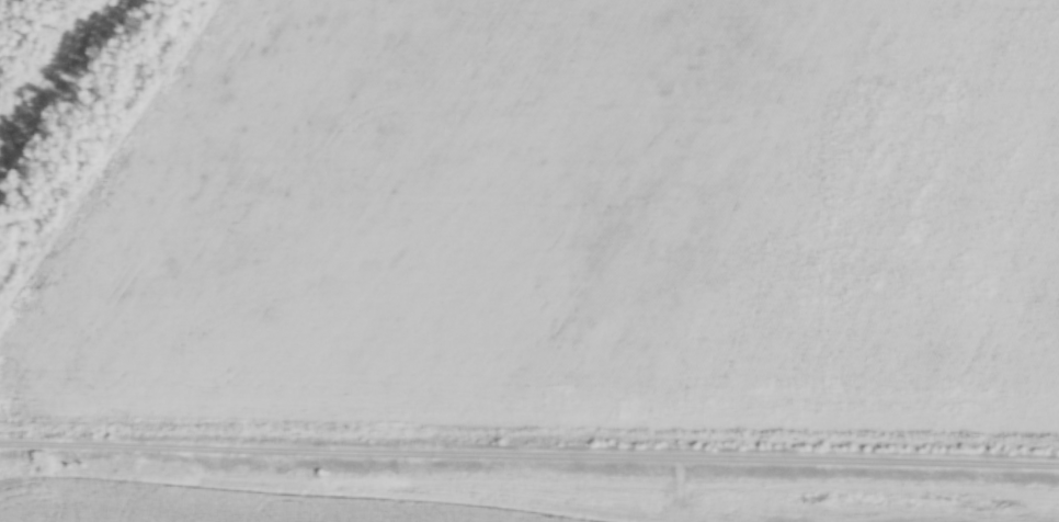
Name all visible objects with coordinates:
road: (529, 458)

